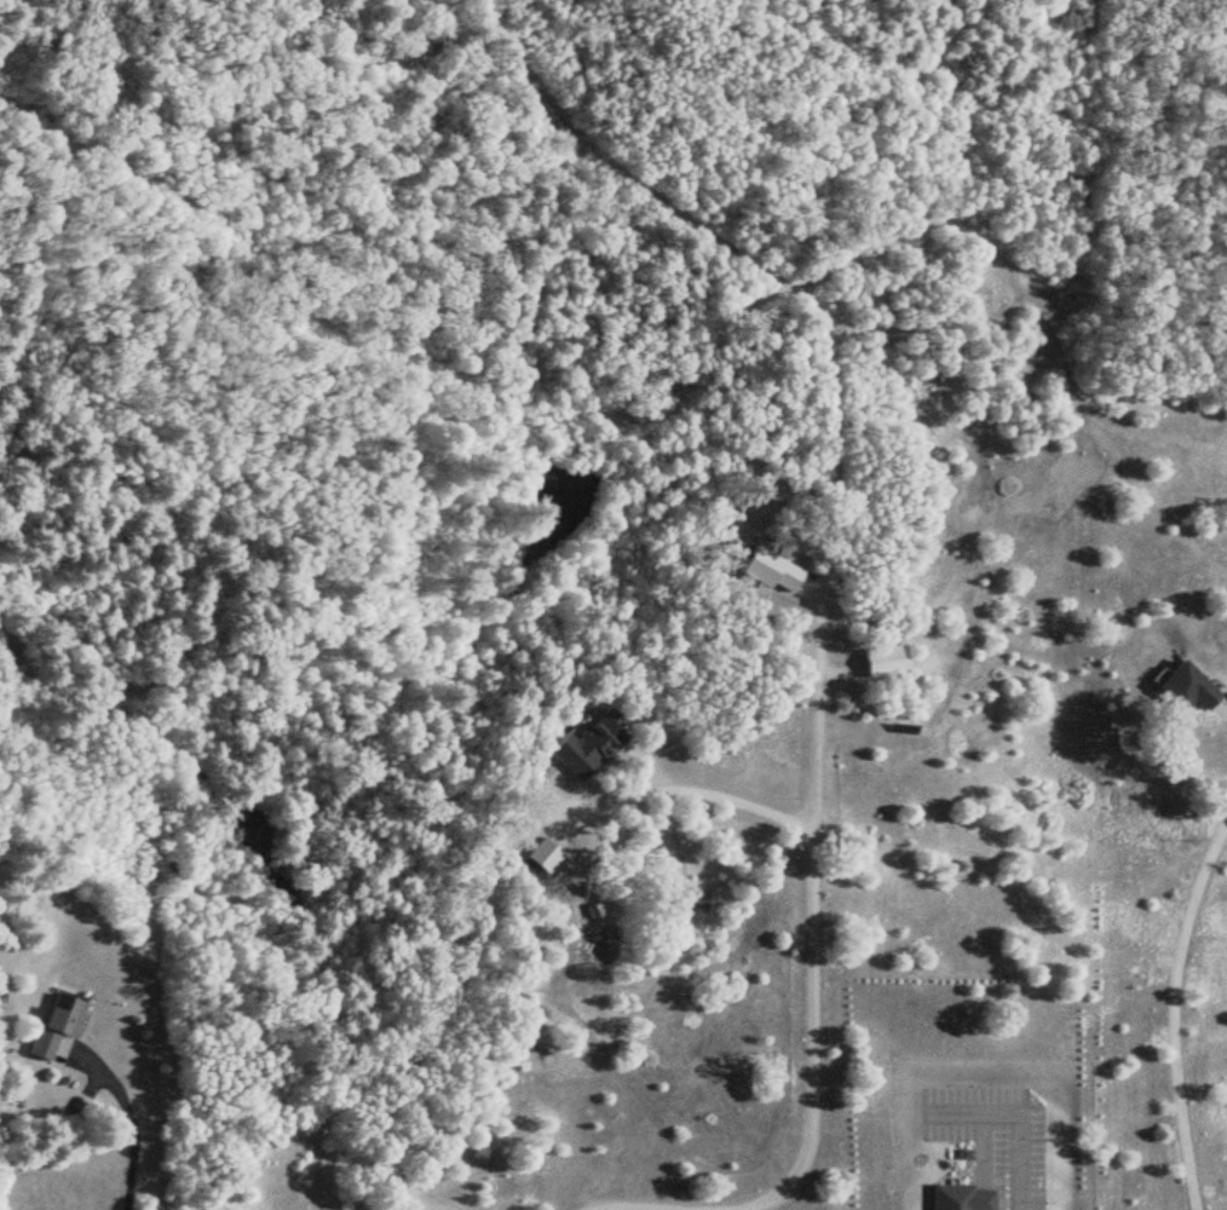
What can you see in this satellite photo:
building: (1174, 688)
road: (1223, 699)
building: (572, 745)
road: (811, 986)
road: (1173, 1007)
road: (129, 1116)

